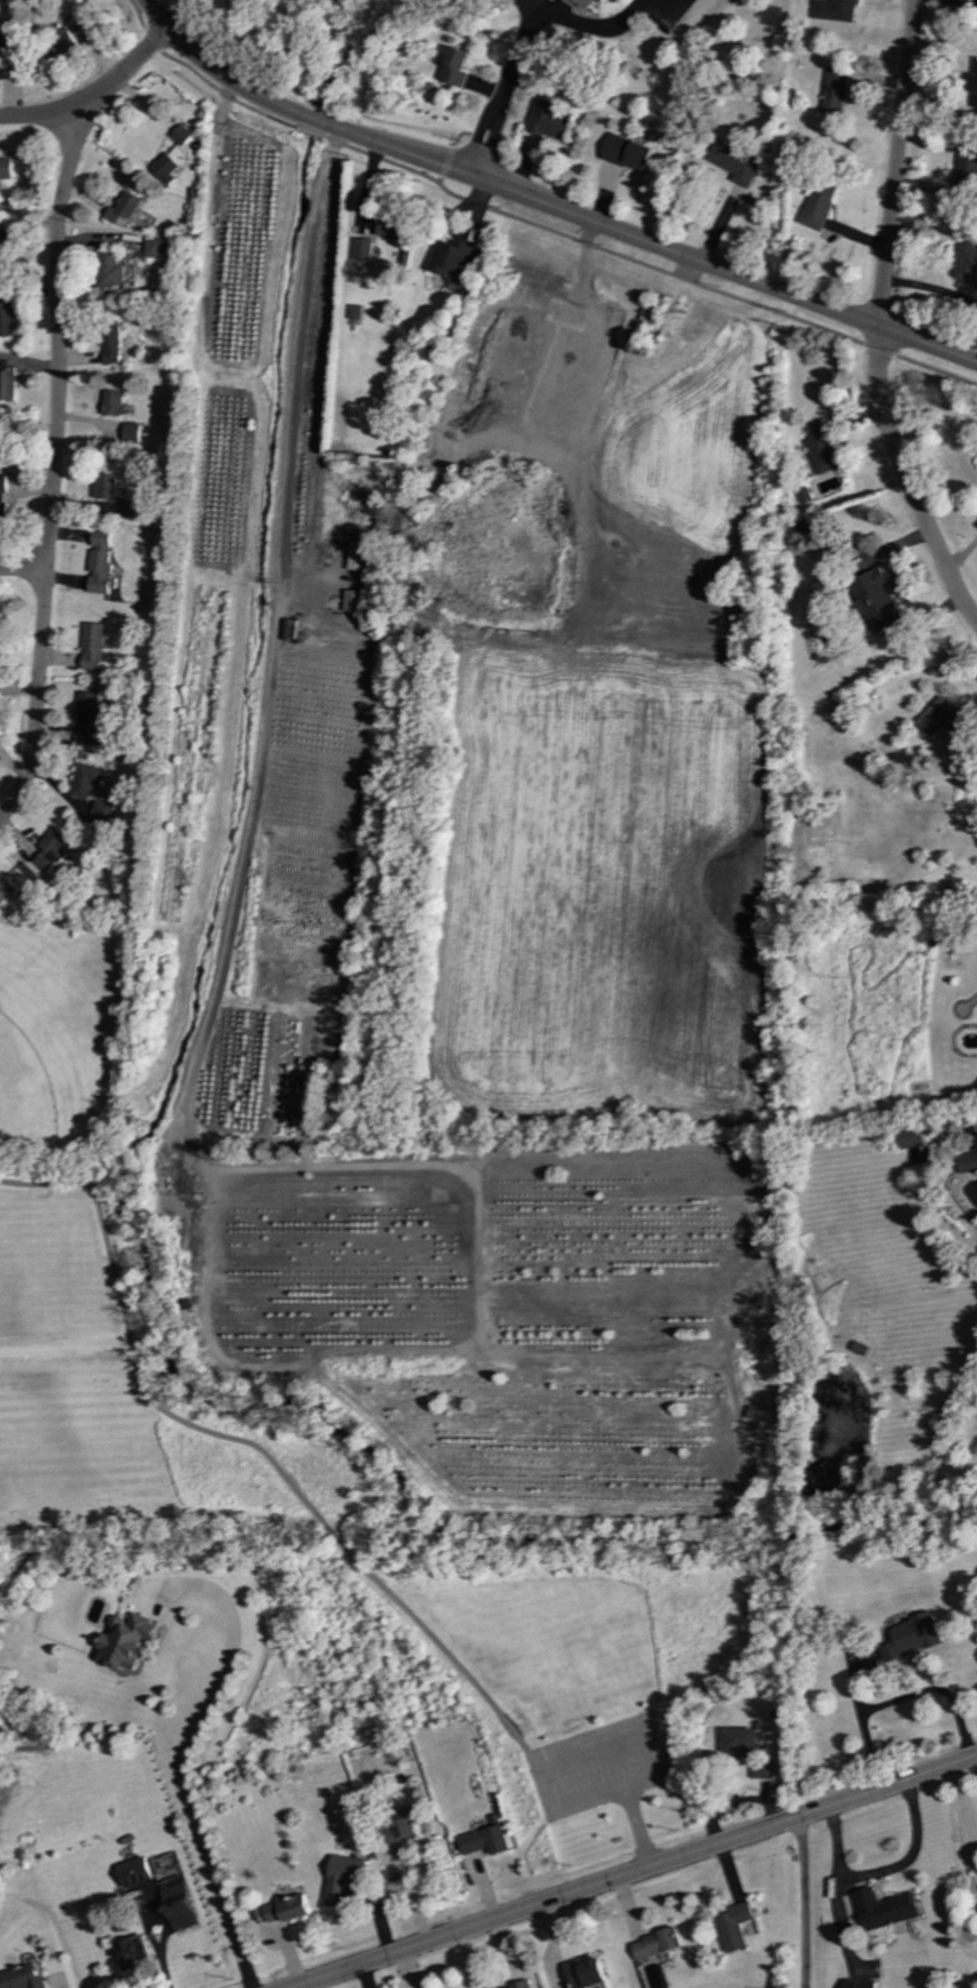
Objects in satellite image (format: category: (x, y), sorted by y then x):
road: (532, 3)
building: (588, 3)
building: (833, 10)
road: (136, 15)
building: (77, 19)
road: (591, 26)
building: (5, 37)
road: (151, 40)
building: (59, 43)
building: (454, 67)
building: (973, 83)
road: (499, 92)
building: (833, 92)
road: (222, 95)
road: (93, 99)
building: (547, 120)
road: (307, 132)
road: (460, 134)
building: (180, 135)
building: (627, 153)
building: (733, 163)
road: (444, 167)
building: (163, 168)
building: (4, 169)
building: (965, 171)
building: (817, 205)
road: (544, 206)
building: (121, 208)
building: (386, 226)
building: (6, 239)
road: (587, 246)
building: (152, 249)
building: (361, 249)
building: (448, 257)
building: (965, 263)
building: (109, 270)
road: (929, 289)
building: (6, 319)
road: (879, 323)
building: (110, 343)
road: (877, 351)
road: (934, 372)
building: (6, 384)
building: (113, 403)
building: (131, 432)
crop: (689, 443)
building: (819, 448)
road: (53, 469)
building: (103, 486)
building: (2, 499)
building: (132, 510)
building: (800, 527)
road: (960, 554)
building: (356, 557)
building: (99, 563)
road: (22, 570)
building: (351, 601)
building: (873, 601)
road: (276, 632)
building: (92, 647)
building: (942, 718)
building: (86, 719)
building: (85, 780)
building: (101, 811)
building: (50, 850)
crop: (601, 891)
building: (6, 892)
building: (908, 1138)
building: (968, 1161)
road: (479, 1255)
road: (510, 1355)
park: (289, 1443)
road: (250, 1451)
road: (744, 1458)
building: (910, 1637)
building: (126, 1642)
road: (935, 1692)
road: (863, 1728)
building: (738, 1742)
road: (183, 1752)
road: (660, 1755)
building: (761, 1769)
parking lot: (594, 1770)
building: (401, 1826)
road: (966, 1833)
building: (485, 1841)
building: (133, 1872)
road: (638, 1872)
road: (880, 1872)
building: (341, 1877)
road: (803, 1901)
building: (177, 1904)
building: (883, 1909)
building: (283, 1910)
building: (733, 1926)
building: (655, 1944)
building: (131, 1953)
building: (584, 1973)
building: (21, 1978)
building: (858, 1984)
building: (520, 1985)

